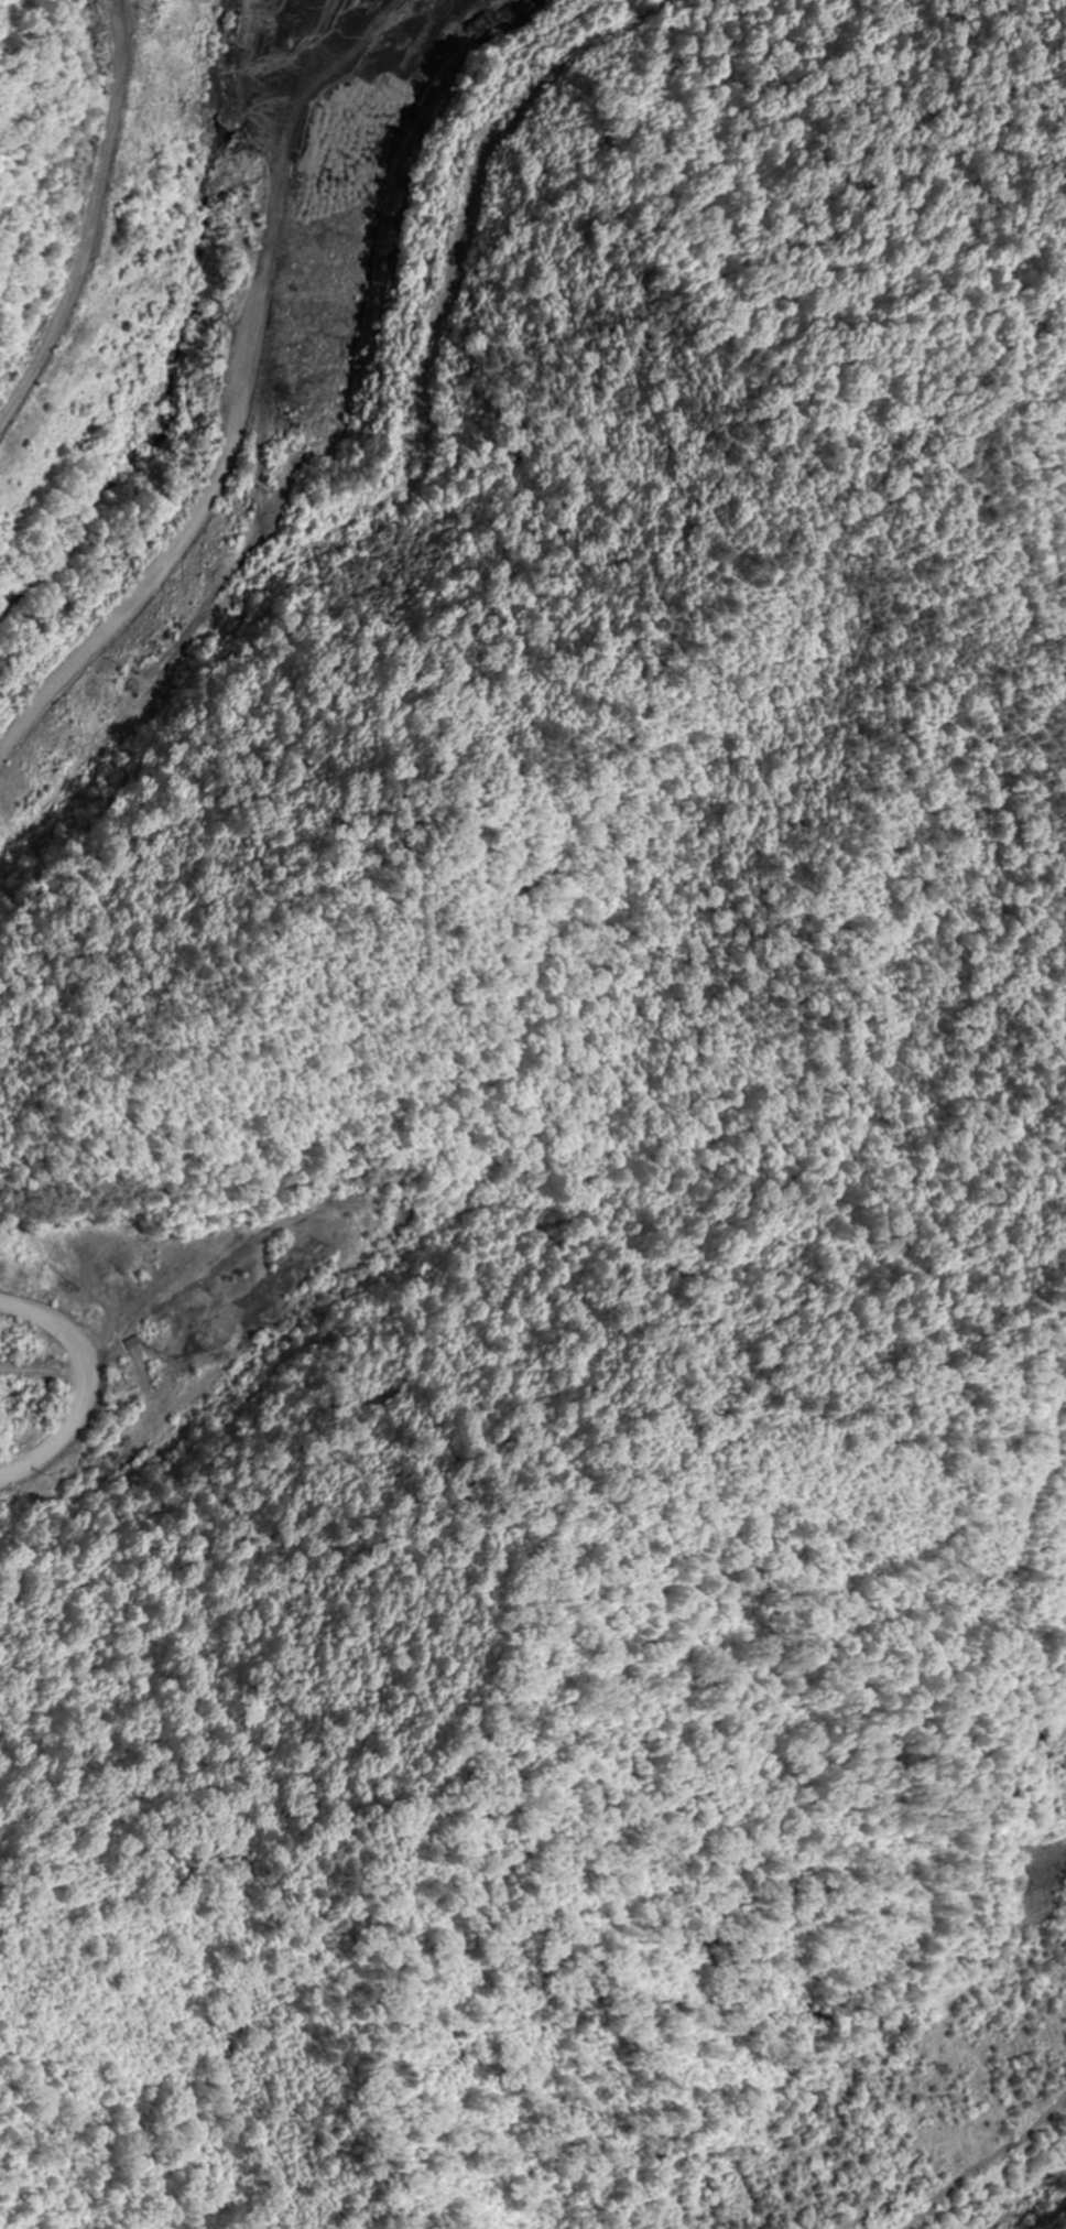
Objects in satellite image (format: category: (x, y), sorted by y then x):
quarry: (425, 776)
building: (222, 1339)

